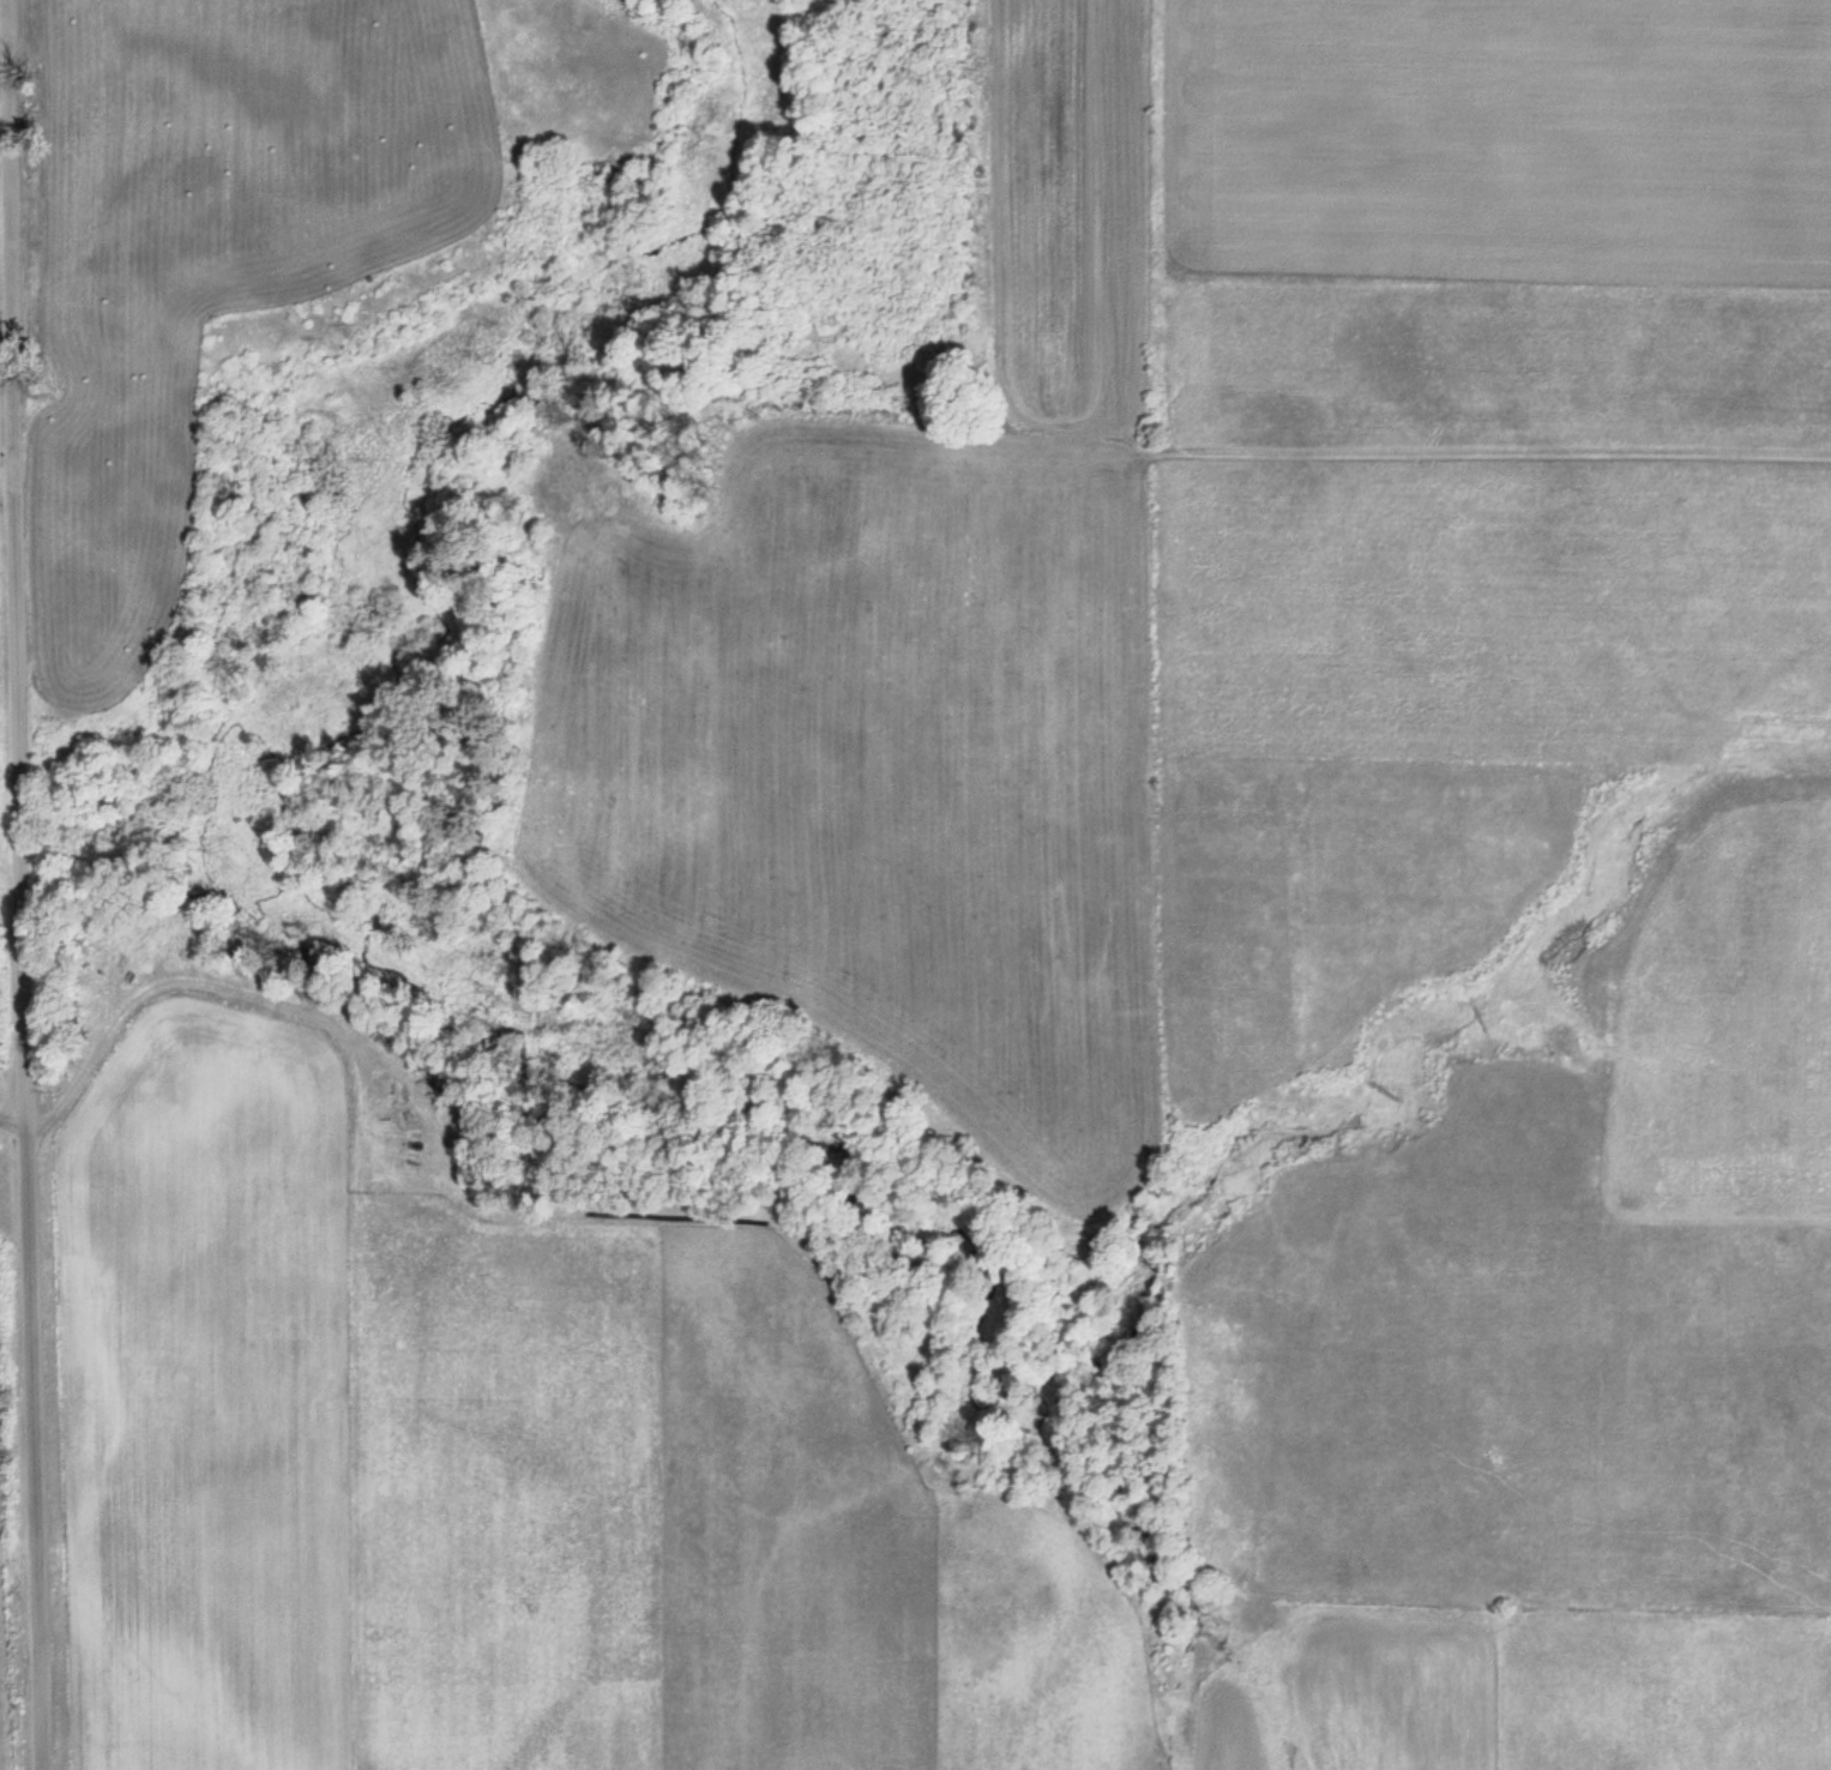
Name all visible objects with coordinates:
road: (26, 885)

